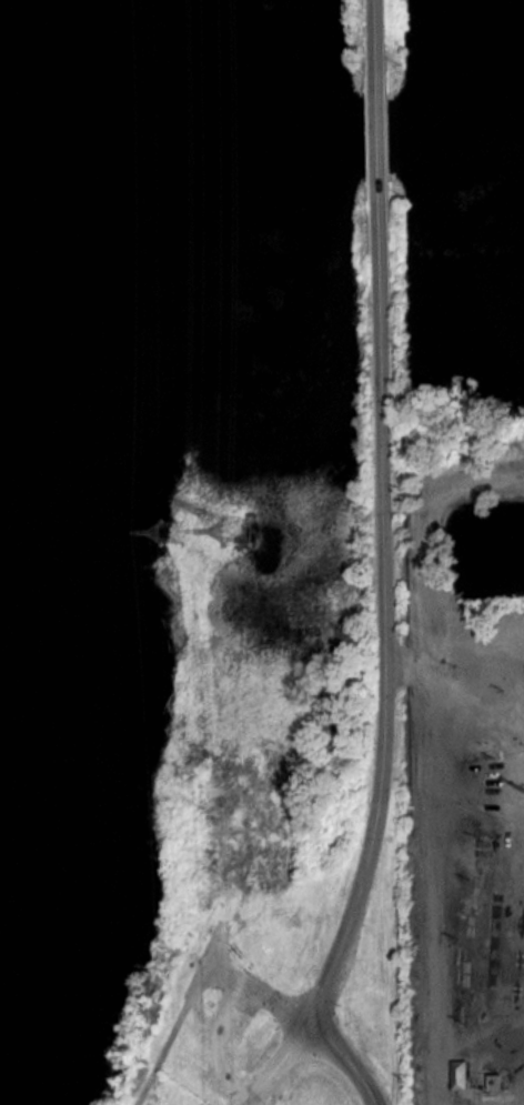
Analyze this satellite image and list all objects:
road: (374, 37)
road: (376, 138)
power tower: (172, 526)
power tower: (239, 526)
road: (384, 620)
road: (258, 990)
road: (180, 1014)
road: (215, 1046)
road: (347, 1059)
road: (275, 1064)
landfill: (172, 1093)

